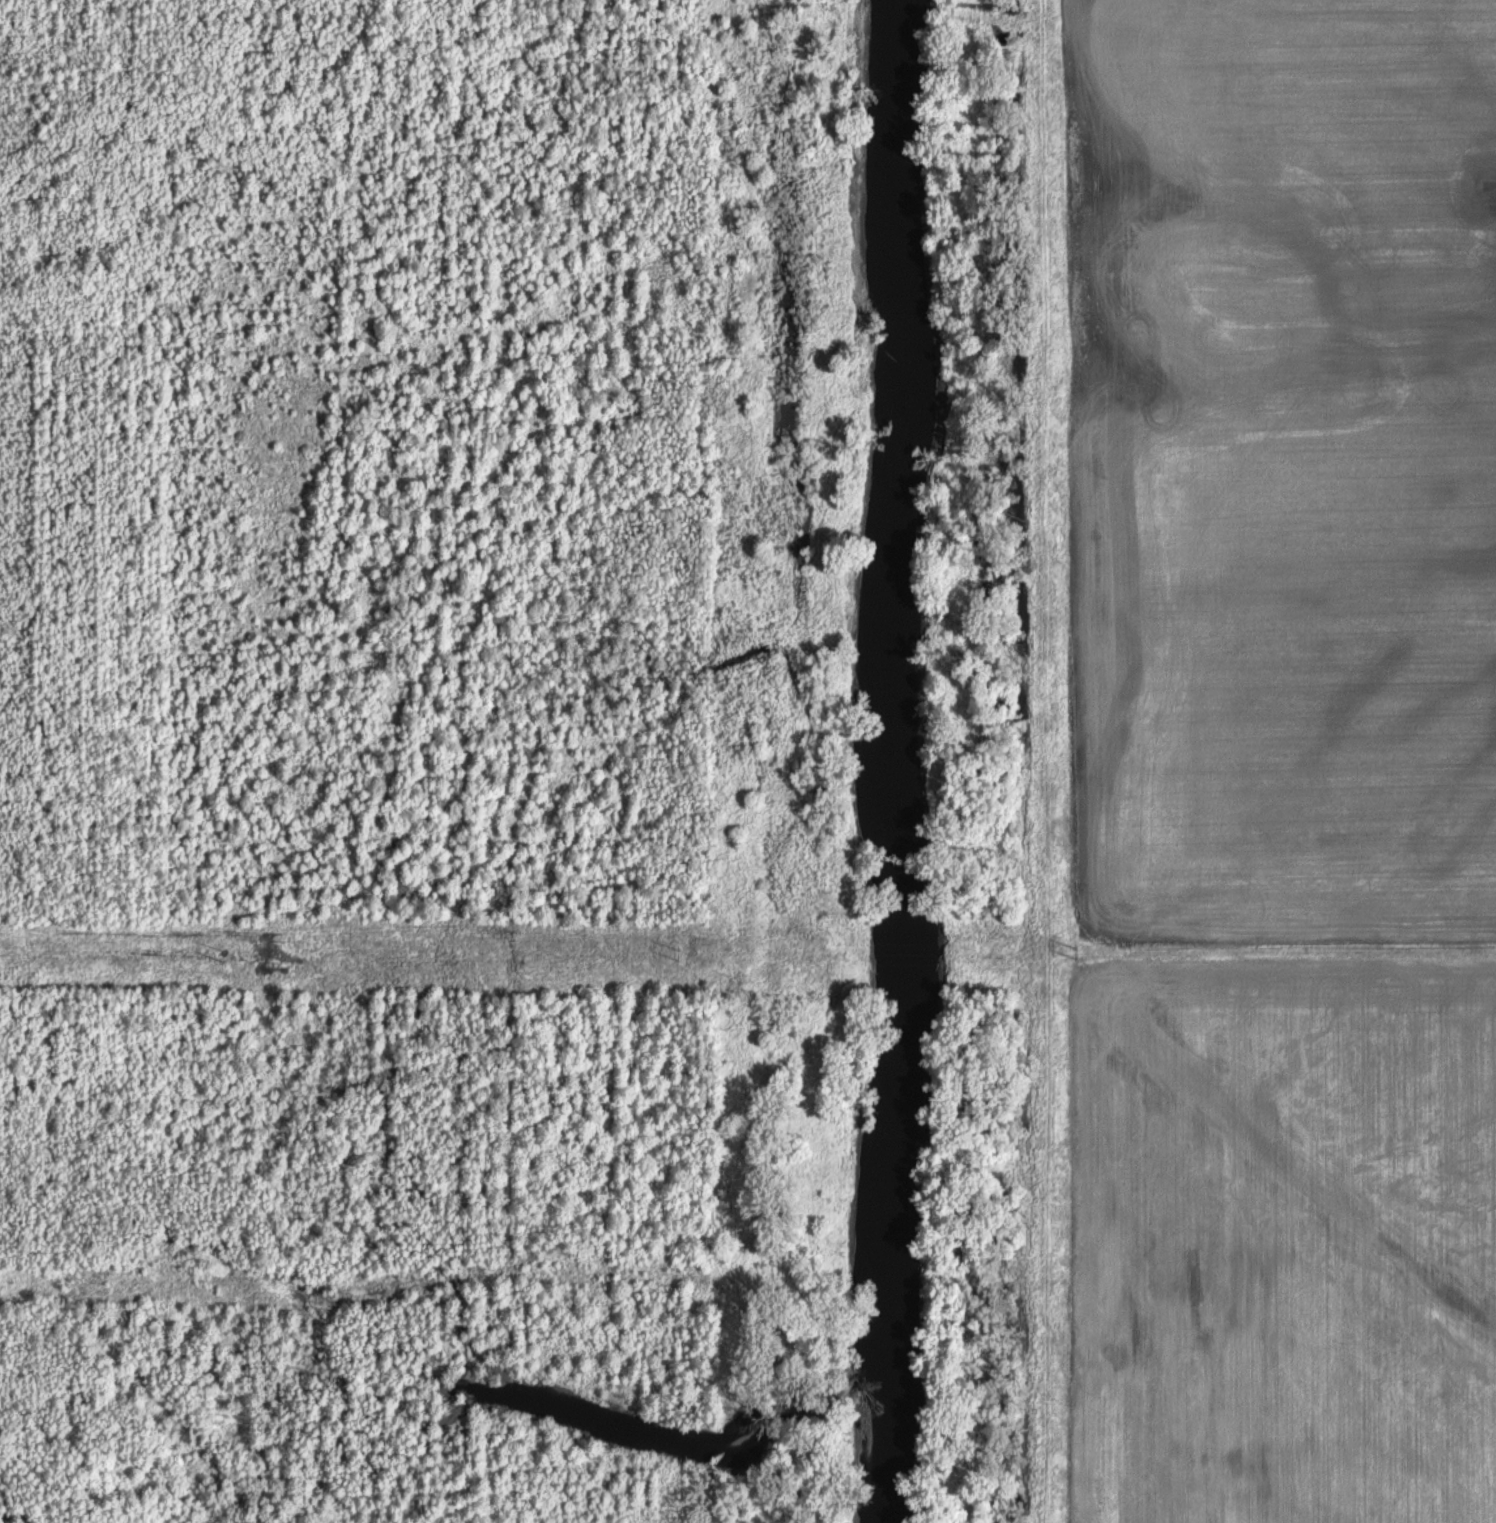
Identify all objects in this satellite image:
river: (894, 760)

